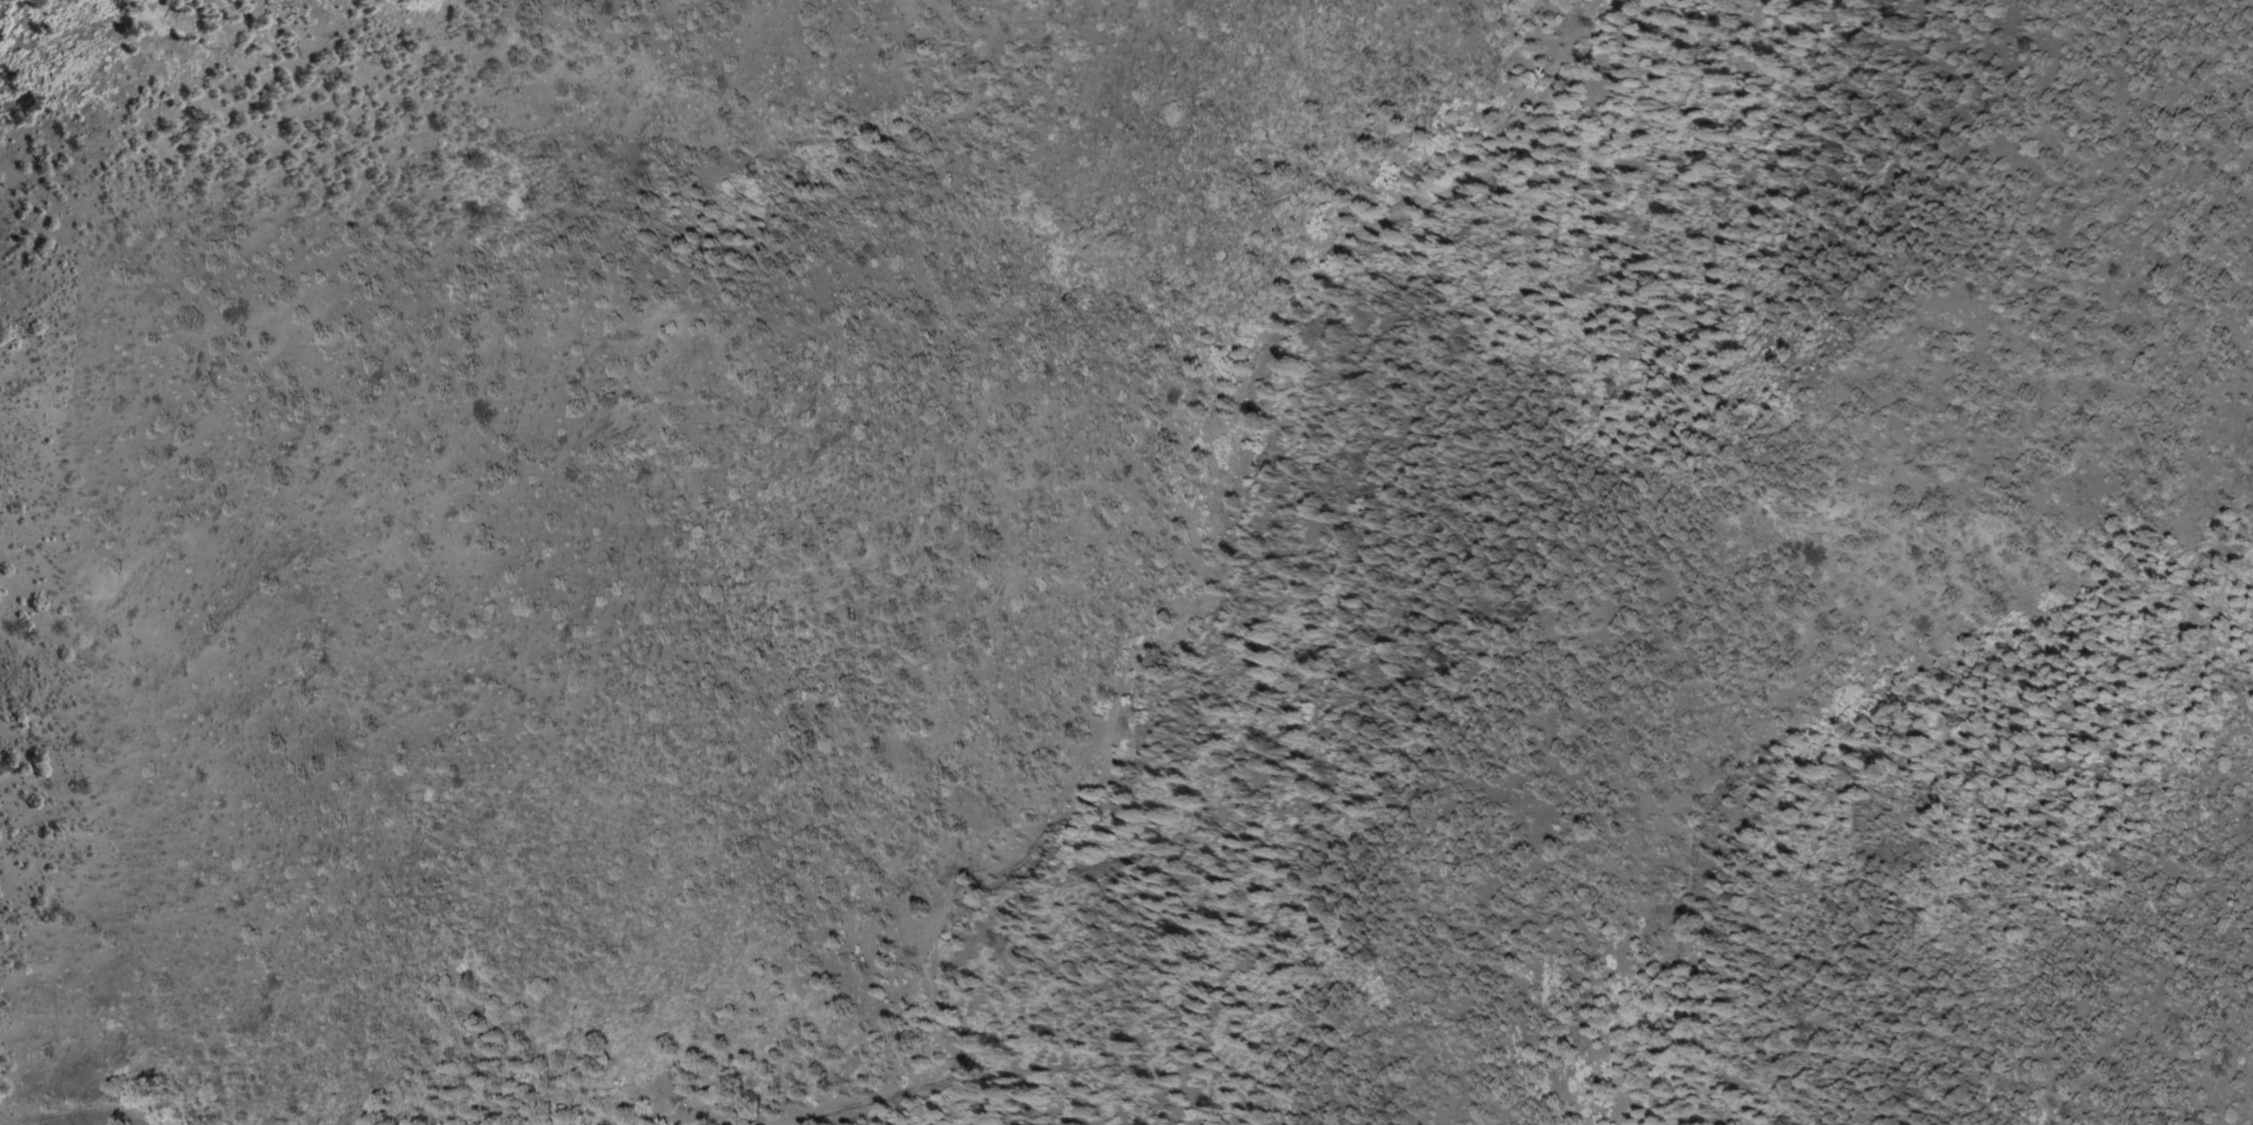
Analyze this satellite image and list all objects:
road: (1217, 564)
road: (693, 1122)

